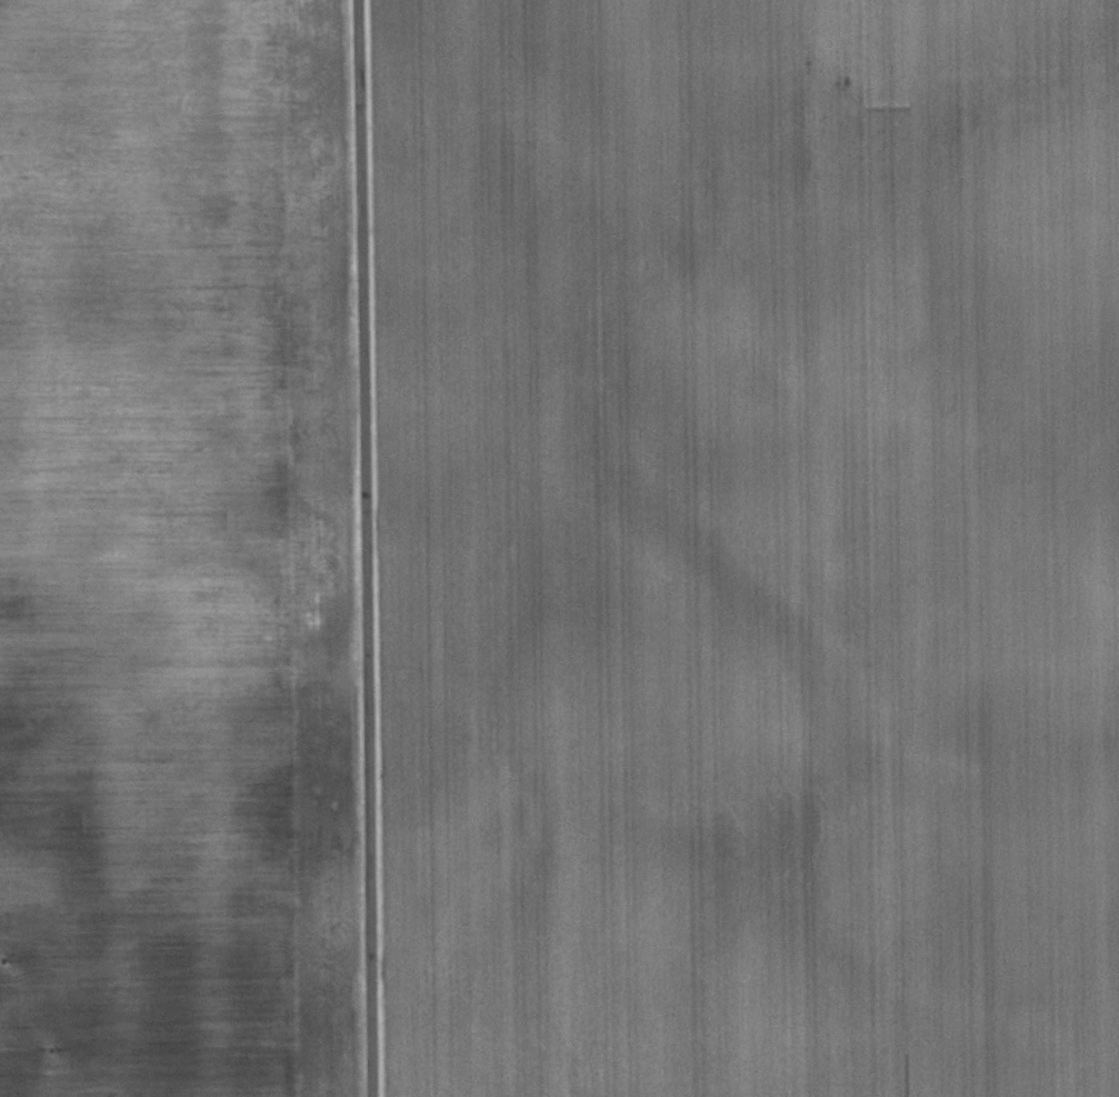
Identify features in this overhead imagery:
road: (367, 548)

